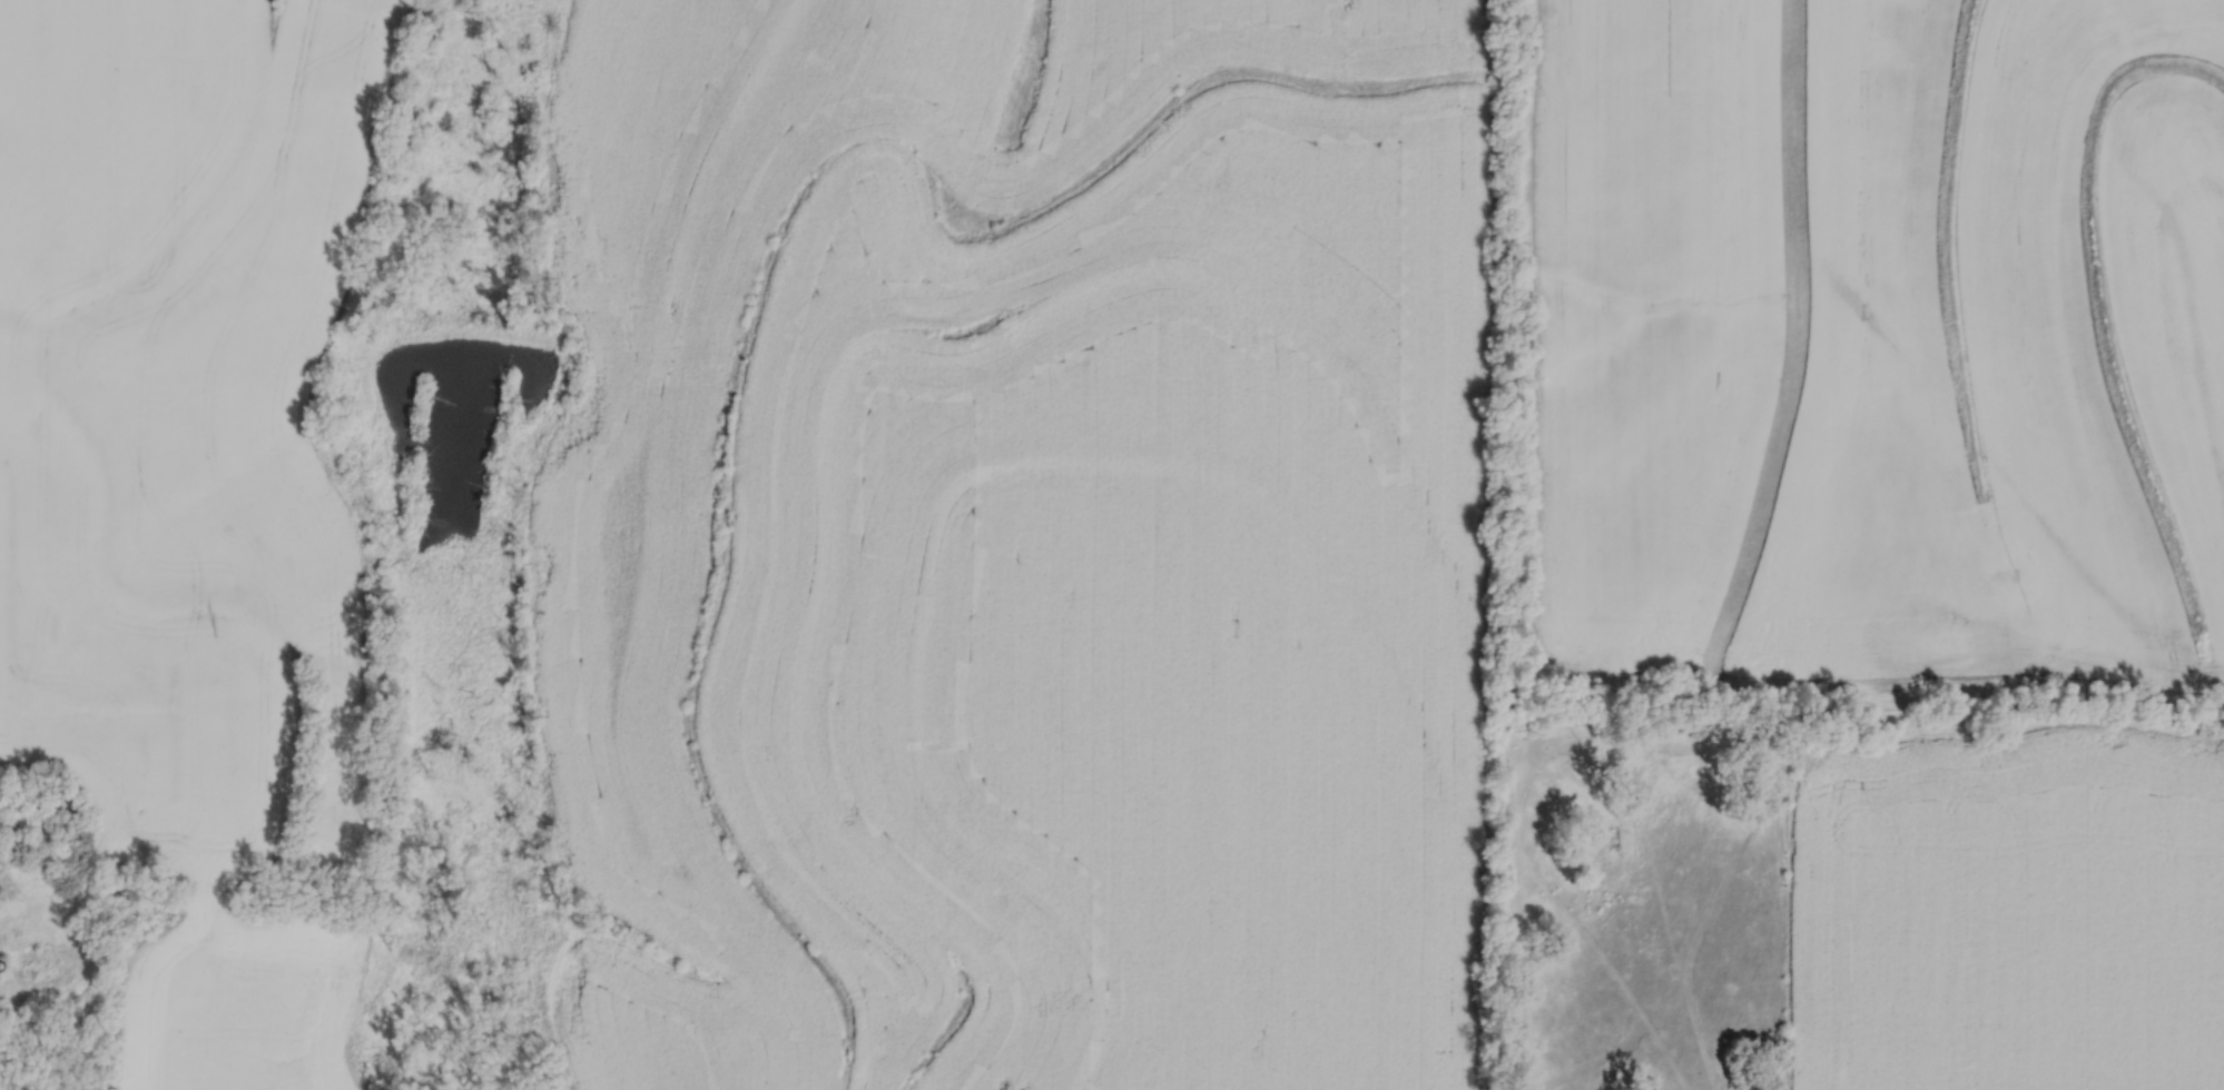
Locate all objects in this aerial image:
building: (33, 906)

